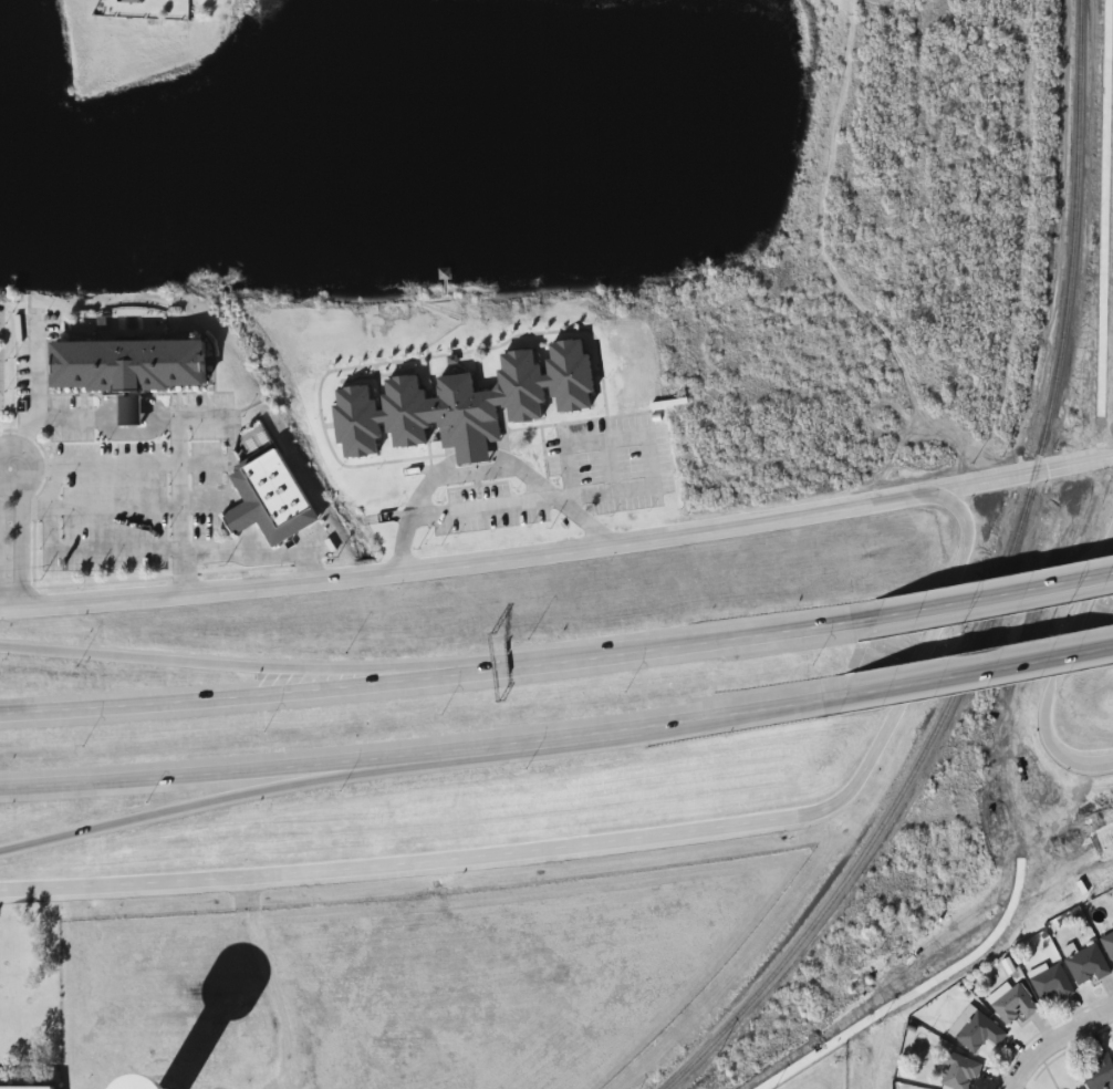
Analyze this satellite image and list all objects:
building: (124, 0)
building: (137, 350)
building: (470, 393)
building: (126, 409)
road: (483, 467)
road: (6, 470)
road: (146, 471)
building: (275, 484)
road: (11, 540)
road: (559, 549)
railway: (997, 593)
road: (991, 597)
road: (1068, 655)
road: (926, 656)
road: (340, 665)
road: (977, 672)
road: (436, 675)
road: (422, 758)
road: (1091, 764)
road: (196, 808)
road: (412, 859)
building: (1109, 945)
building: (1086, 966)
building: (1052, 984)
building: (1015, 1005)
building: (979, 1033)
road: (1054, 1039)
building: (420, 1069)
wastewater plant: (813, 1070)
building: (958, 1072)
building: (1098, 1074)
building: (31, 1081)

